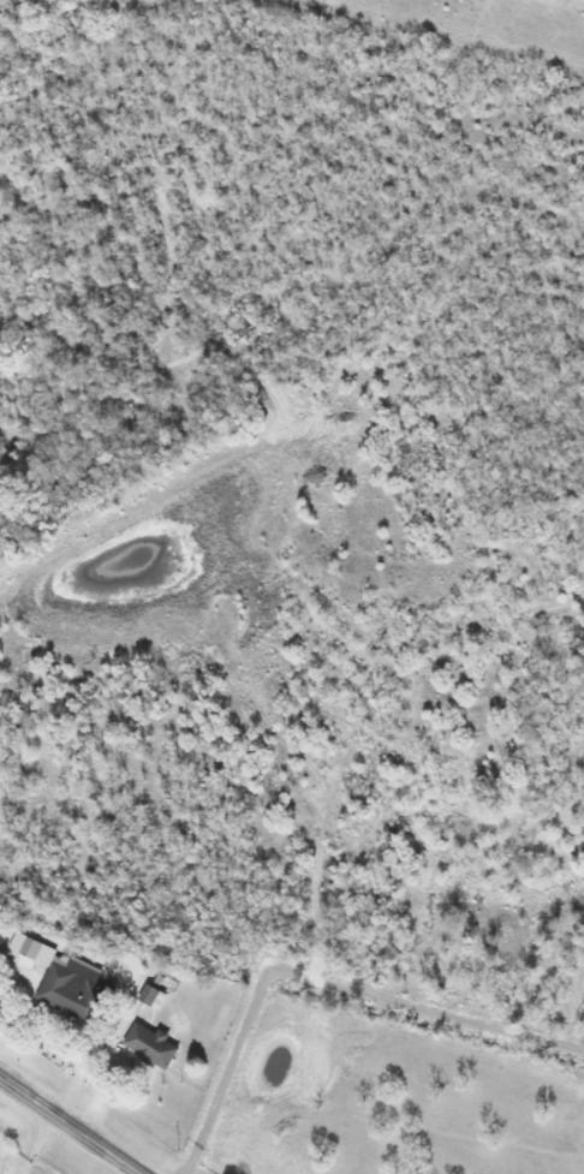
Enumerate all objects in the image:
building: (65, 979)
building: (154, 996)
building: (153, 1045)
road: (67, 1127)
road: (34, 1144)

